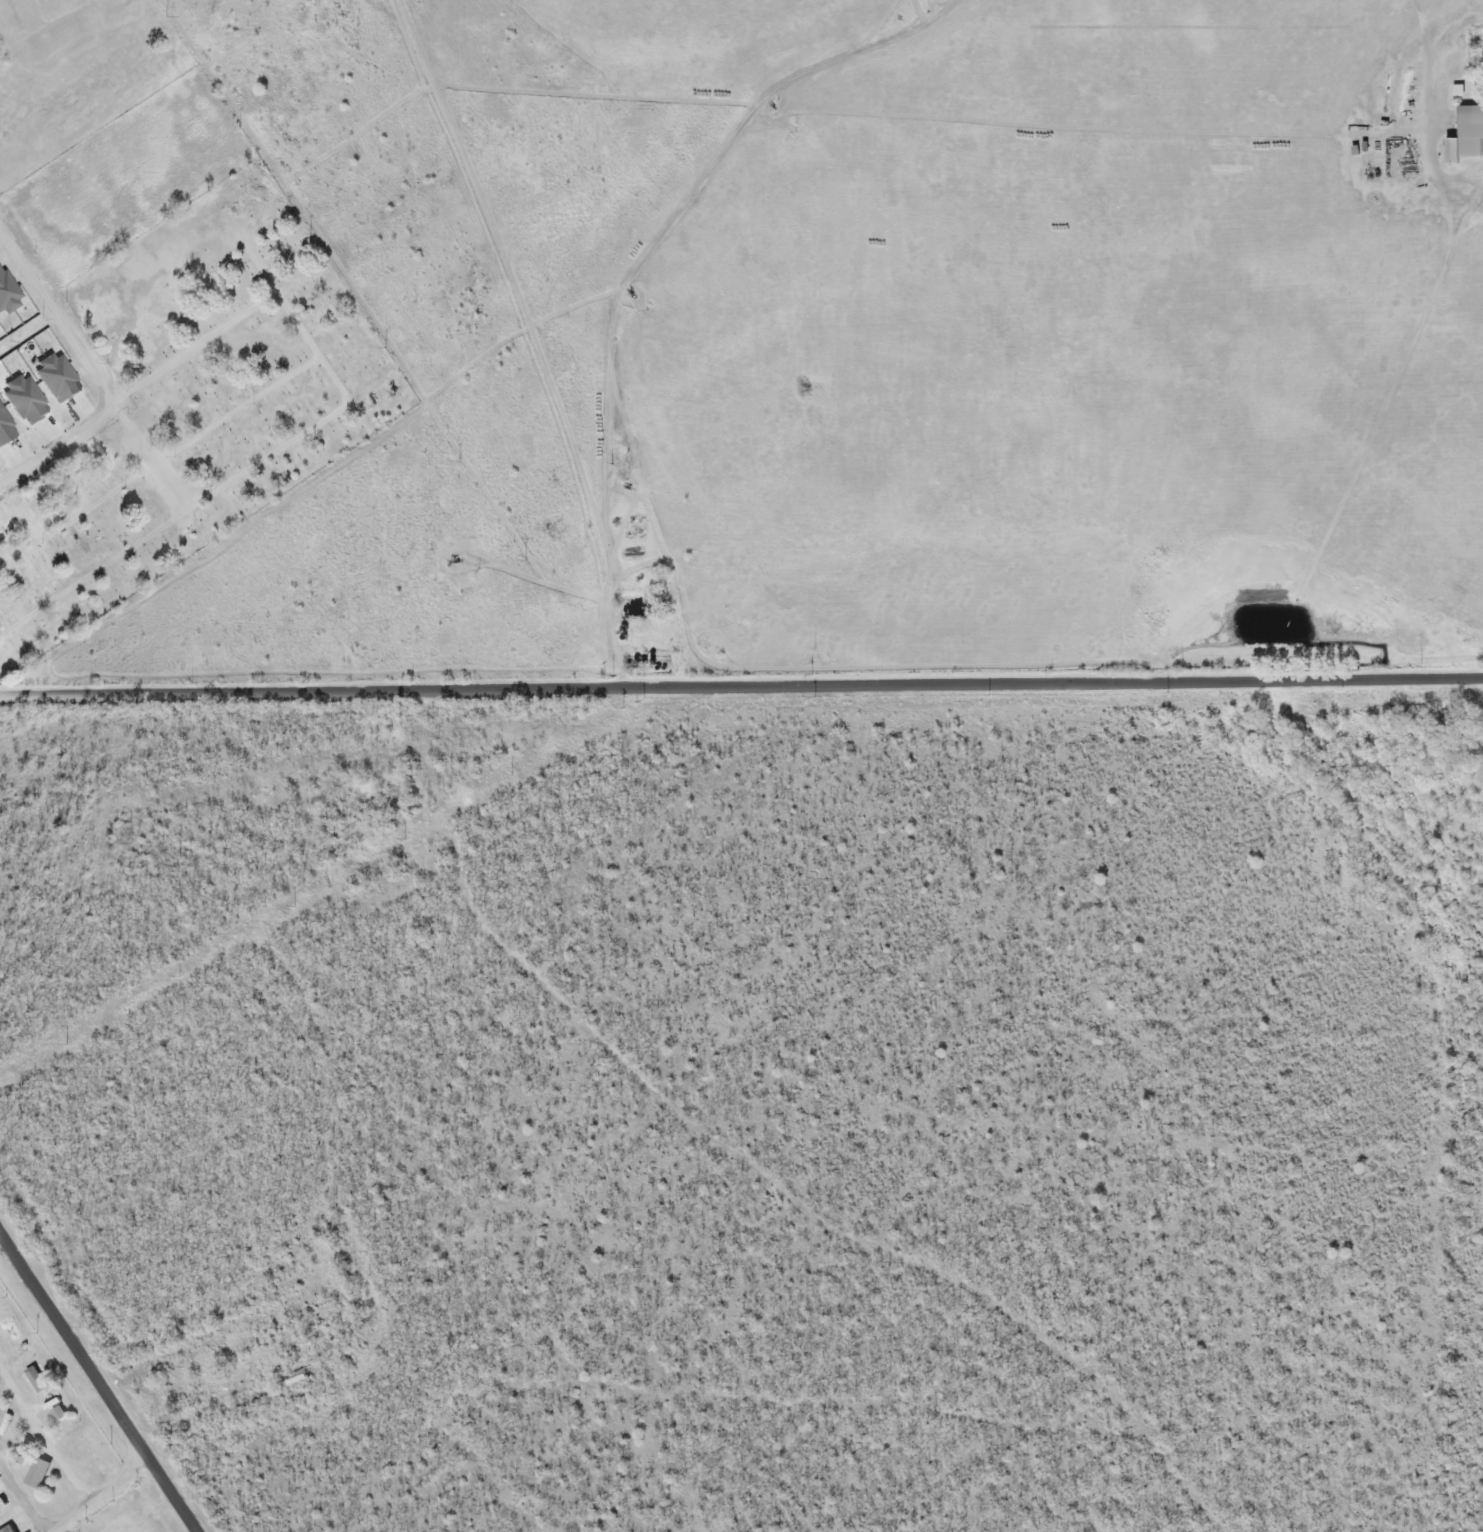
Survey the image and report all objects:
building: (1469, 132)
road: (55, 323)
park: (179, 358)
road: (55, 443)
road: (740, 687)
road: (1, 1245)
building: (33, 1382)
road: (96, 1387)
building: (57, 1415)
road: (43, 1443)
building: (36, 1474)
road: (101, 1499)
road: (20, 1501)
building: (6, 1529)

